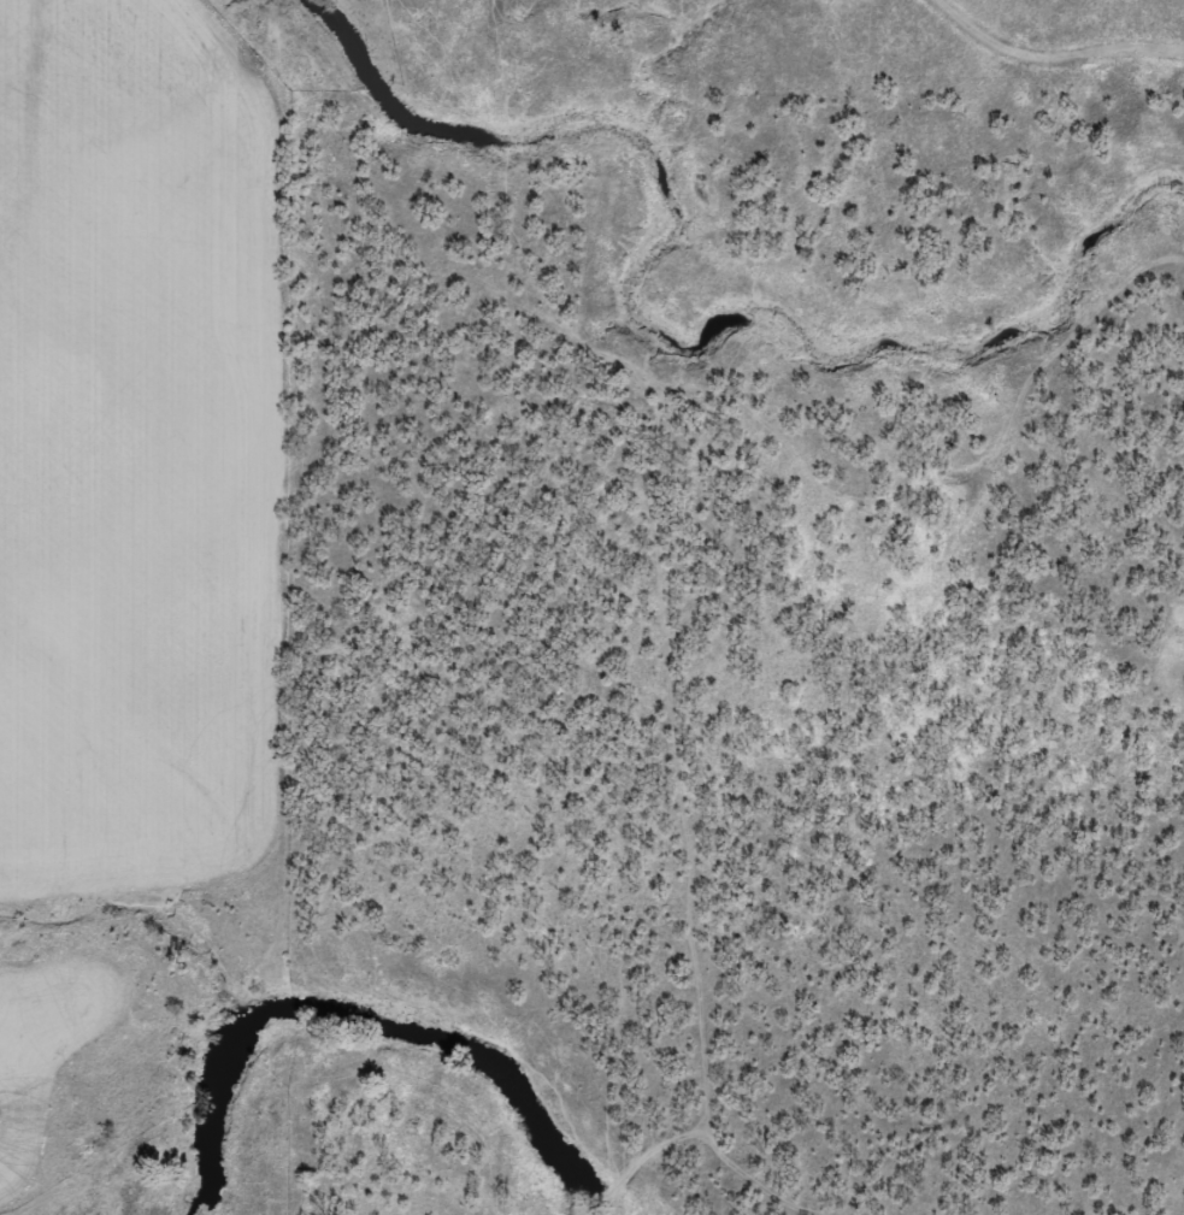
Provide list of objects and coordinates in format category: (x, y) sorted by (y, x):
road: (1061, 54)

